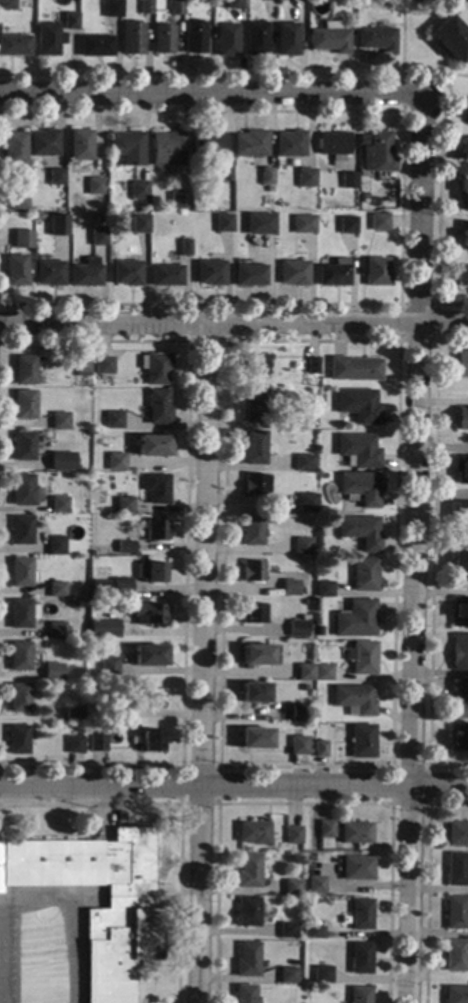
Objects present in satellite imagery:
building: (266, 0)
building: (233, 4)
building: (8, 5)
building: (145, 7)
building: (175, 8)
building: (112, 9)
building: (70, 21)
road: (401, 35)
building: (132, 38)
building: (193, 38)
building: (328, 38)
building: (162, 39)
building: (255, 39)
building: (286, 39)
building: (450, 39)
building: (49, 40)
building: (226, 40)
building: (377, 40)
building: (14, 46)
building: (95, 47)
road: (446, 70)
road: (200, 74)
road: (444, 74)
road: (401, 91)
road: (210, 93)
building: (467, 121)
building: (362, 140)
building: (43, 143)
building: (208, 144)
building: (250, 144)
building: (289, 144)
building: (80, 146)
building: (126, 146)
building: (333, 146)
building: (14, 149)
building: (166, 149)
building: (462, 149)
building: (378, 153)
building: (225, 173)
building: (55, 177)
building: (266, 177)
building: (304, 178)
building: (348, 180)
road: (437, 183)
building: (95, 186)
building: (269, 189)
building: (138, 191)
building: (463, 194)
building: (363, 196)
building: (180, 199)
building: (18, 200)
road: (400, 207)
building: (99, 220)
building: (378, 223)
building: (139, 224)
building: (222, 224)
building: (264, 225)
building: (303, 225)
building: (347, 225)
building: (27, 230)
building: (58, 234)
building: (462, 236)
building: (97, 237)
building: (22, 243)
building: (184, 248)
building: (15, 270)
building: (293, 272)
building: (374, 272)
building: (85, 273)
building: (125, 273)
building: (209, 273)
building: (333, 273)
building: (48, 274)
building: (461, 275)
building: (165, 276)
building: (248, 276)
road: (435, 304)
road: (234, 324)
road: (206, 342)
building: (256, 364)
building: (461, 364)
building: (103, 365)
building: (311, 365)
building: (81, 367)
building: (154, 368)
building: (354, 369)
building: (24, 371)
building: (87, 384)
building: (24, 405)
building: (254, 405)
building: (358, 406)
building: (157, 407)
building: (461, 419)
building: (112, 420)
building: (304, 420)
building: (59, 421)
building: (152, 446)
building: (23, 447)
building: (255, 449)
building: (357, 451)
building: (115, 462)
building: (51, 463)
building: (304, 463)
building: (460, 469)
building: (253, 484)
building: (156, 488)
building: (359, 488)
building: (25, 491)
building: (304, 502)
building: (58, 505)
building: (123, 506)
building: (248, 508)
building: (460, 515)
building: (21, 530)
building: (156, 530)
building: (252, 530)
building: (360, 531)
building: (55, 546)
building: (302, 546)
building: (125, 547)
building: (319, 549)
road: (415, 550)
road: (184, 551)
road: (431, 557)
building: (459, 564)
building: (151, 572)
building: (252, 572)
building: (21, 573)
building: (364, 574)
building: (121, 587)
building: (290, 587)
building: (100, 588)
building: (56, 589)
building: (323, 589)
building: (252, 613)
building: (459, 613)
building: (22, 614)
building: (148, 615)
building: (356, 619)
building: (105, 629)
building: (297, 629)
building: (56, 631)
building: (318, 631)
building: (459, 652)
building: (19, 656)
building: (149, 656)
building: (255, 656)
building: (361, 657)
road: (202, 664)
building: (108, 668)
building: (304, 673)
building: (323, 673)
building: (47, 674)
building: (302, 689)
building: (253, 693)
building: (19, 698)
building: (152, 699)
building: (353, 700)
building: (458, 700)
building: (121, 713)
building: (298, 713)
building: (73, 715)
building: (254, 739)
building: (458, 739)
building: (18, 740)
building: (151, 741)
building: (362, 741)
building: (97, 743)
building: (75, 745)
building: (298, 746)
building: (320, 749)
road: (217, 767)
road: (218, 767)
road: (233, 787)
road: (390, 803)
road: (303, 804)
road: (179, 813)
building: (325, 829)
building: (253, 833)
building: (355, 833)
building: (457, 835)
building: (293, 836)
building: (356, 869)
building: (455, 870)
building: (248, 871)
road: (425, 883)
building: (315, 886)
building: (292, 887)
road: (107, 897)
road: (165, 903)
building: (247, 912)
building: (455, 912)
building: (360, 915)
building: (287, 930)
building: (314, 933)
building: (122, 935)
building: (454, 956)
building: (360, 958)
building: (246, 960)
road: (155, 963)
building: (286, 975)
building: (322, 975)
building: (244, 994)
building: (359, 995)
building: (456, 995)

